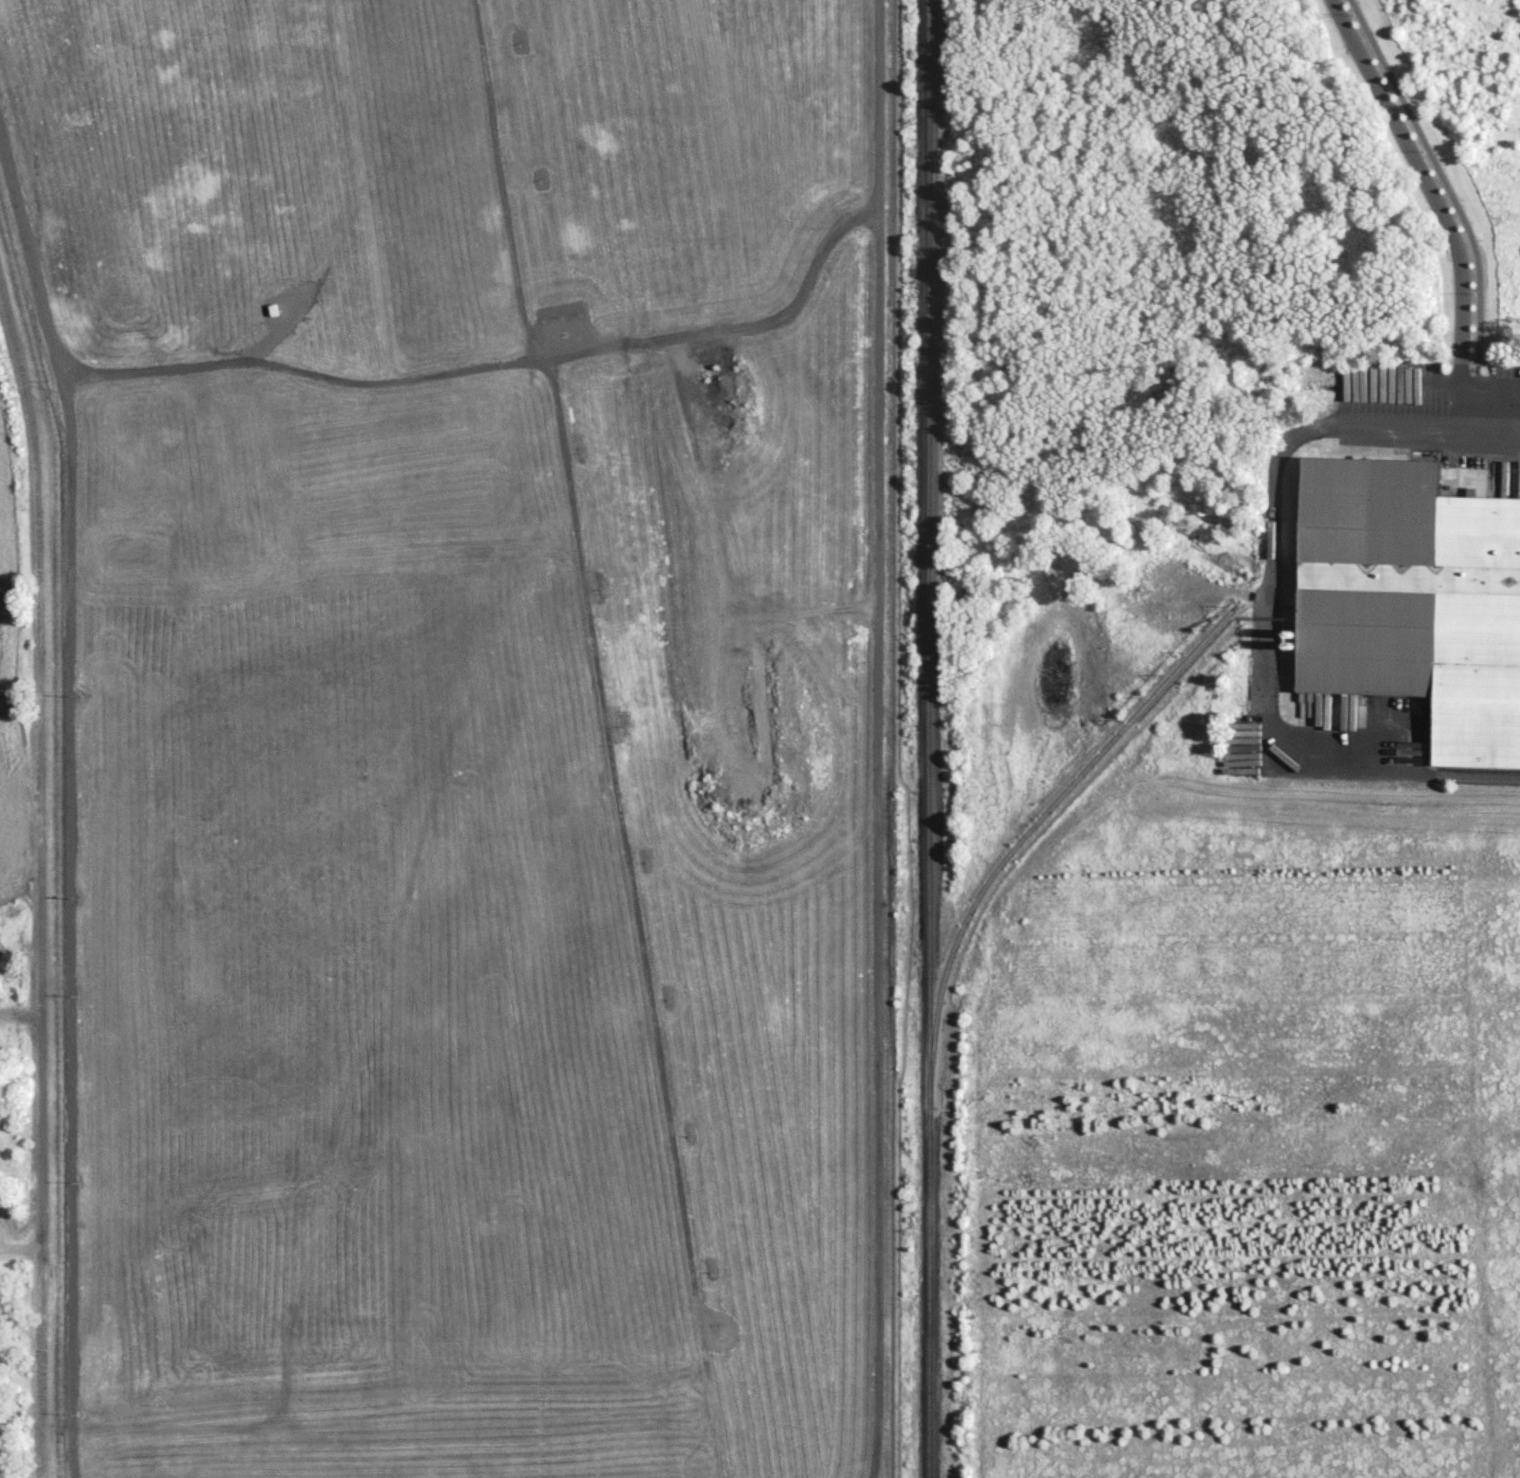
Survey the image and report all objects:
road: (1436, 202)
road: (1454, 202)
road: (737, 332)
road: (301, 372)
building: (1413, 599)
road: (1275, 606)
road: (598, 664)
airport: (471, 729)
road: (879, 739)
railway: (930, 739)
road: (71, 800)
railway: (1040, 817)
road: (44, 879)
road: (22, 1251)

